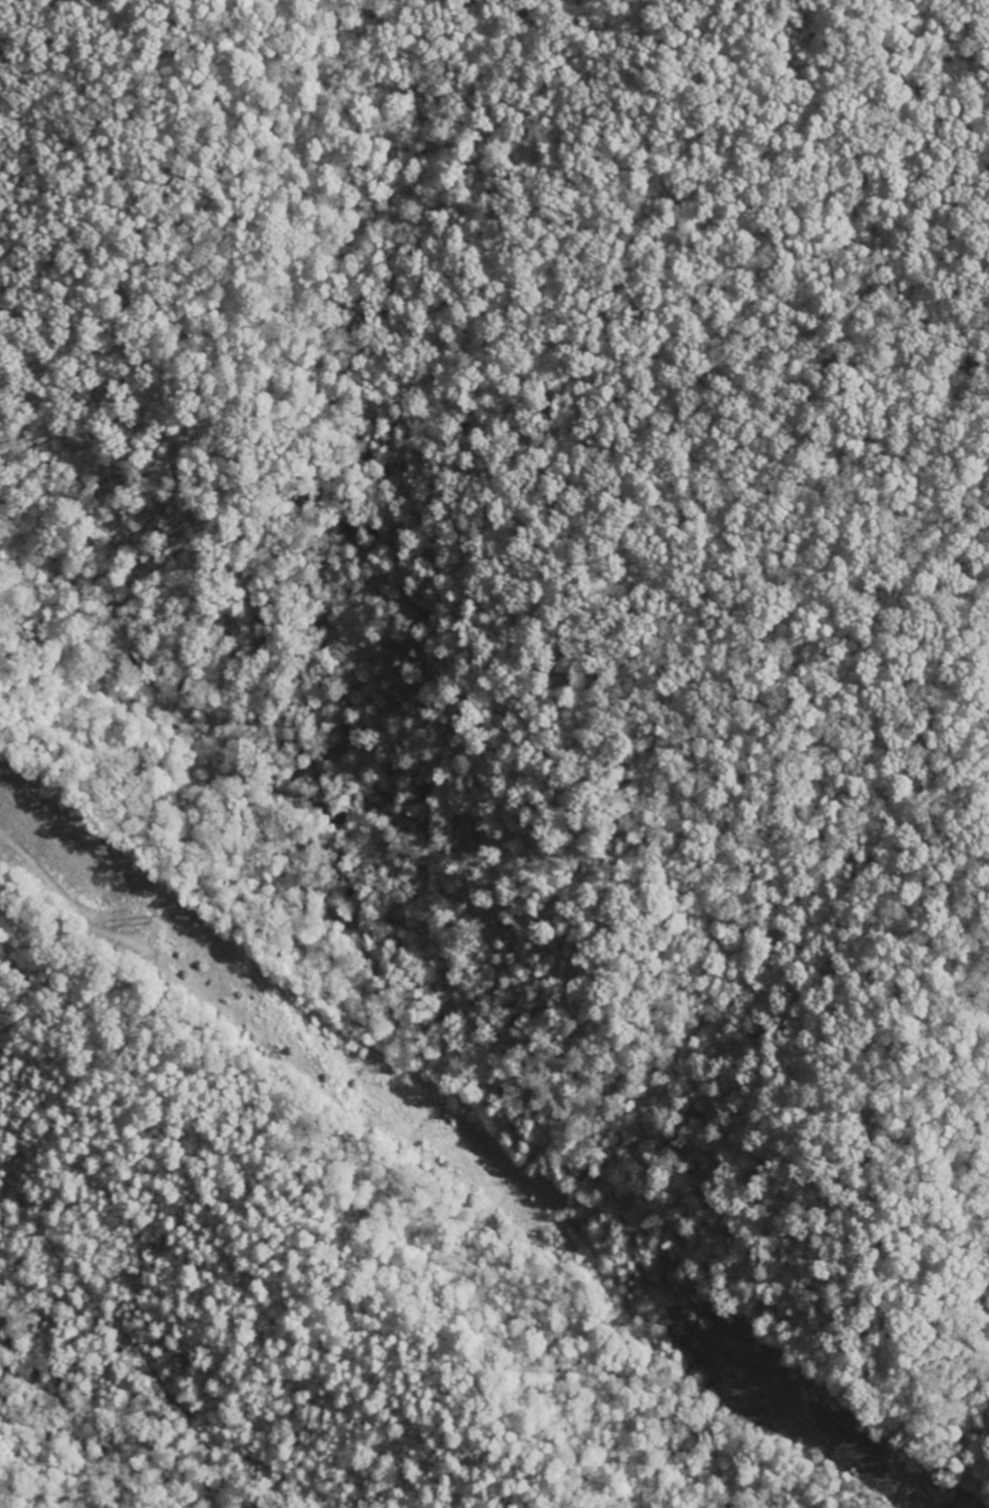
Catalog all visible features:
power tower: (152, 922)
power tower: (835, 1443)

